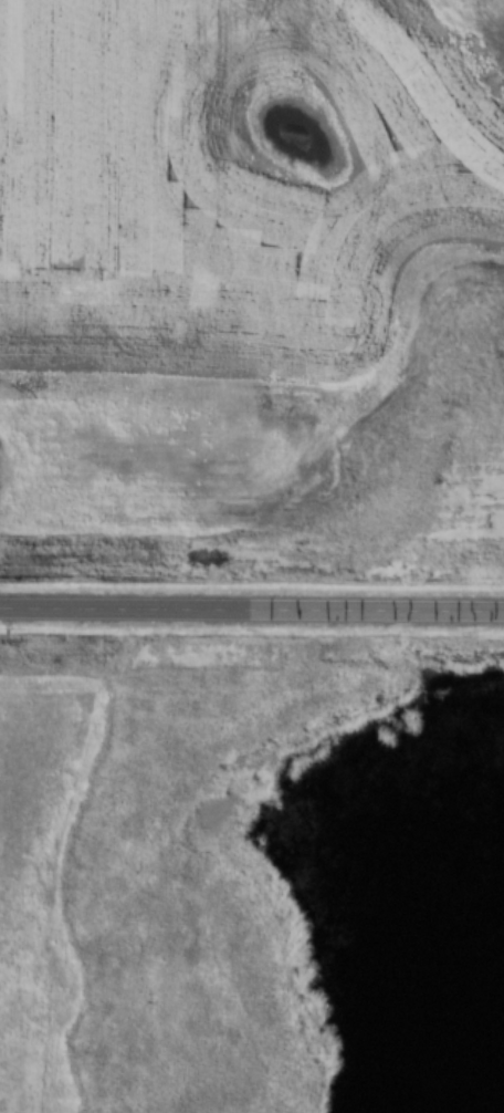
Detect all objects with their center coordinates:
road: (251, 616)

